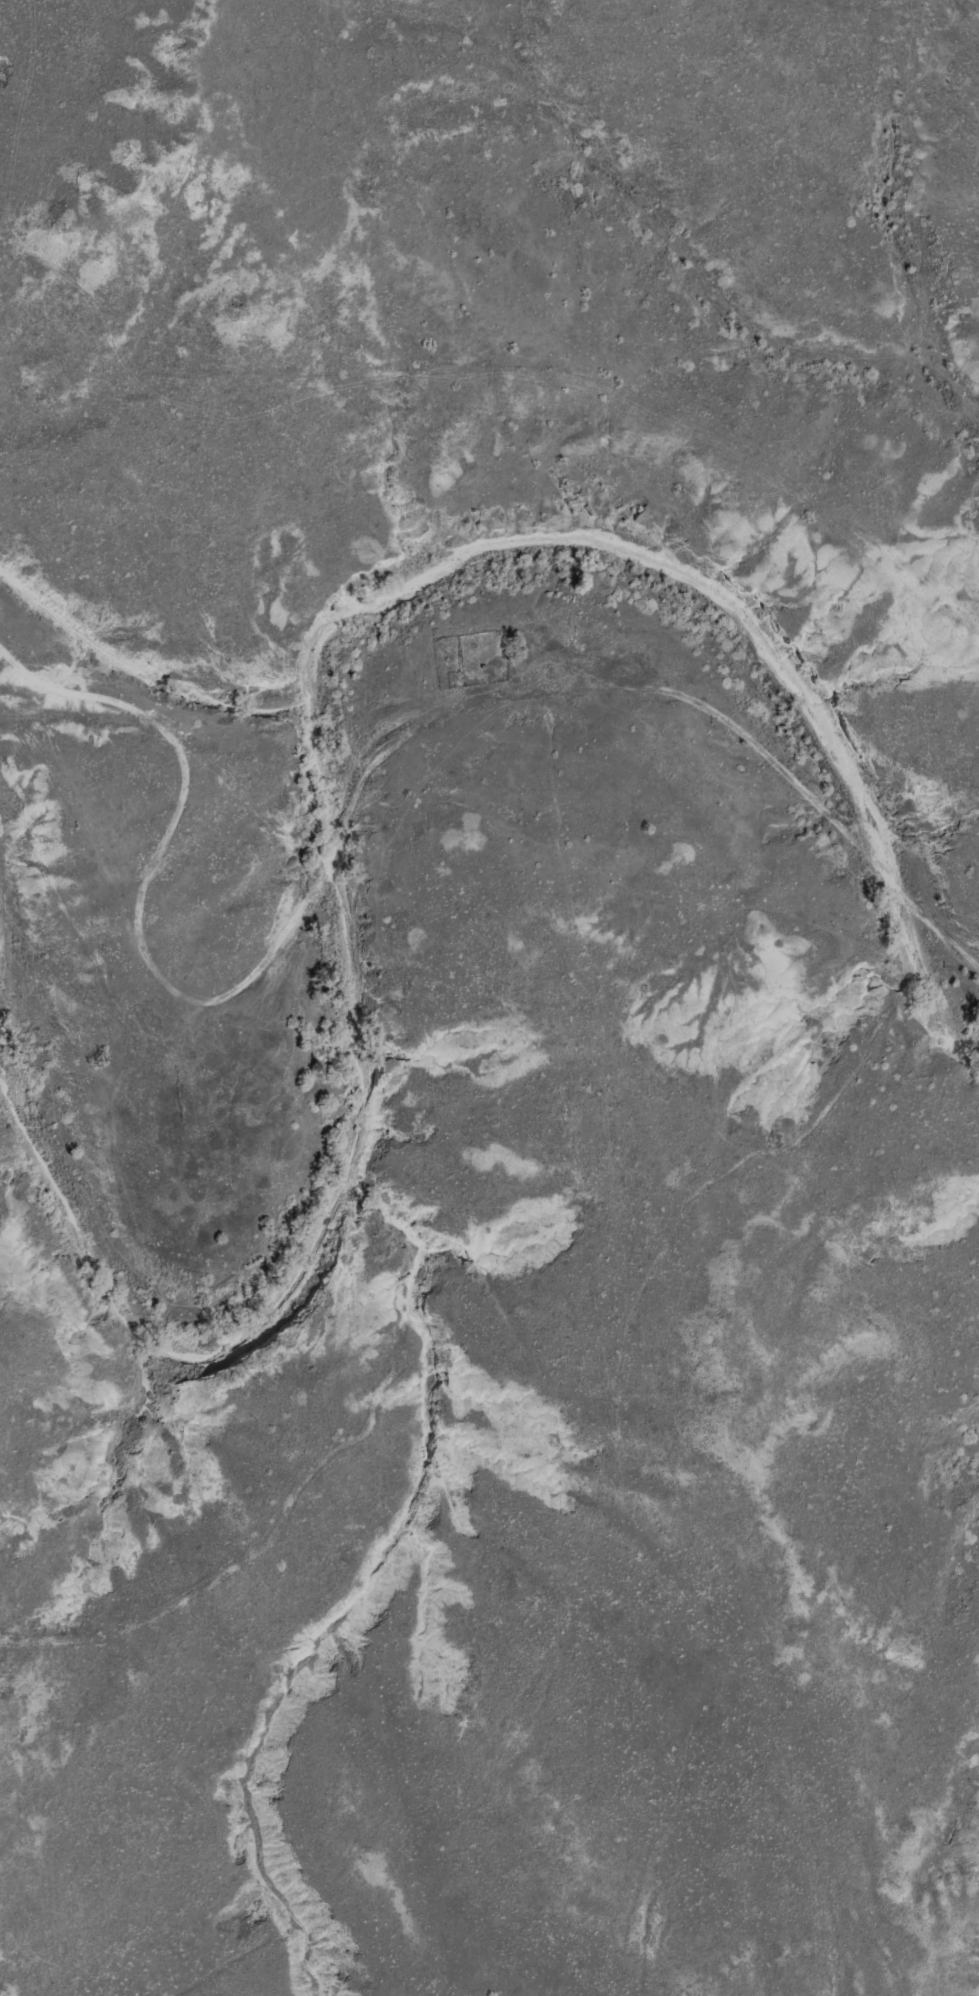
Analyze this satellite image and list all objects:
road: (339, 750)
river: (334, 774)

